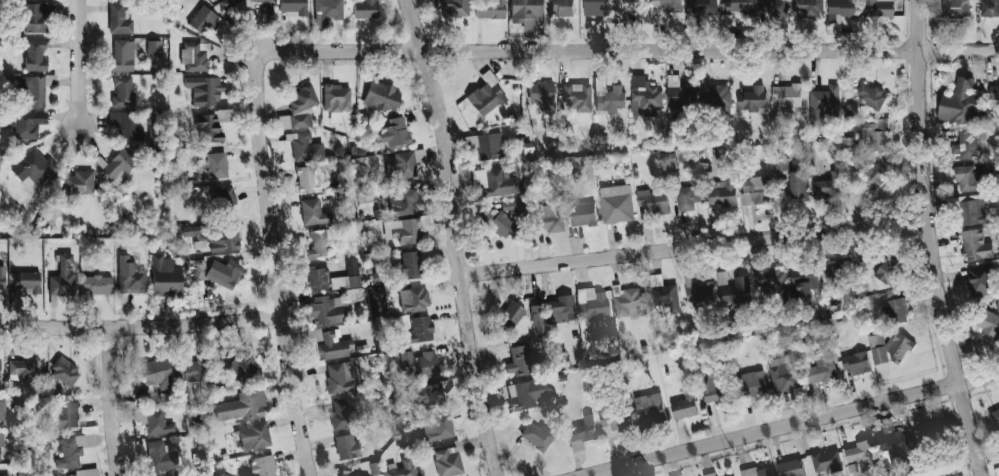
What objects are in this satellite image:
building: (265, 0)
building: (228, 2)
building: (671, 5)
building: (738, 5)
building: (293, 6)
building: (452, 6)
building: (562, 7)
building: (596, 7)
building: (773, 7)
building: (809, 7)
building: (842, 7)
building: (955, 7)
building: (365, 8)
building: (878, 8)
building: (989, 8)
building: (490, 9)
building: (328, 10)
building: (627, 10)
building: (699, 10)
building: (525, 13)
building: (33, 18)
building: (202, 18)
building: (118, 19)
building: (154, 47)
road: (626, 50)
building: (35, 54)
building: (122, 55)
building: (194, 55)
road: (80, 63)
building: (205, 88)
building: (31, 90)
building: (122, 91)
building: (994, 92)
building: (542, 94)
building: (677, 94)
building: (787, 94)
building: (644, 95)
building: (870, 95)
building: (381, 96)
building: (576, 96)
building: (335, 97)
building: (486, 97)
building: (610, 98)
building: (752, 98)
building: (958, 102)
building: (823, 105)
building: (298, 109)
building: (335, 117)
building: (150, 118)
building: (25, 122)
building: (126, 125)
building: (210, 125)
building: (396, 131)
building: (874, 133)
building: (155, 139)
building: (486, 144)
building: (965, 144)
building: (306, 147)
building: (402, 163)
building: (119, 165)
building: (216, 165)
building: (781, 165)
building: (32, 168)
building: (985, 168)
building: (874, 176)
building: (967, 178)
building: (307, 179)
building: (494, 181)
building: (78, 182)
building: (798, 185)
building: (829, 185)
building: (755, 190)
building: (721, 192)
building: (223, 196)
building: (688, 197)
building: (402, 201)
building: (653, 201)
building: (616, 203)
building: (512, 206)
building: (972, 210)
building: (313, 212)
building: (583, 214)
building: (548, 218)
building: (498, 222)
building: (409, 228)
building: (192, 229)
road: (458, 236)
building: (223, 239)
road: (928, 240)
building: (319, 244)
building: (975, 244)
road: (694, 246)
road: (277, 264)
building: (408, 265)
building: (888, 271)
building: (223, 272)
building: (165, 275)
building: (347, 275)
building: (838, 275)
building: (62, 276)
building: (130, 276)
building: (2, 278)
building: (317, 278)
building: (979, 279)
building: (802, 280)
building: (769, 281)
building: (25, 283)
building: (96, 285)
building: (733, 289)
building: (662, 292)
building: (699, 294)
building: (413, 299)
building: (628, 301)
building: (591, 302)
building: (376, 305)
building: (326, 309)
building: (559, 309)
building: (897, 310)
building: (510, 314)
building: (988, 323)
road: (142, 327)
building: (837, 328)
building: (420, 329)
building: (333, 345)
building: (889, 348)
building: (0, 360)
building: (518, 360)
building: (856, 362)
building: (419, 363)
building: (823, 366)
building: (241, 367)
building: (22, 369)
building: (190, 369)
building: (64, 371)
building: (157, 372)
building: (784, 373)
building: (340, 377)
building: (753, 384)
building: (712, 390)
building: (525, 392)
building: (431, 397)
road: (114, 402)
building: (683, 404)
building: (241, 405)
building: (2, 406)
building: (648, 406)
building: (339, 414)
building: (61, 415)
building: (615, 416)
building: (995, 418)
building: (153, 420)
road: (789, 424)
building: (436, 426)
building: (581, 433)
building: (254, 434)
building: (537, 435)
building: (1, 439)
building: (894, 445)
building: (347, 446)
building: (70, 451)
building: (861, 452)
building: (160, 455)
building: (447, 461)
building: (824, 461)
building: (263, 465)
building: (791, 467)
building: (400, 468)
building: (758, 471)
building: (78, 473)
building: (174, 474)
building: (352, 474)
building: (710, 474)
building: (4, 475)

